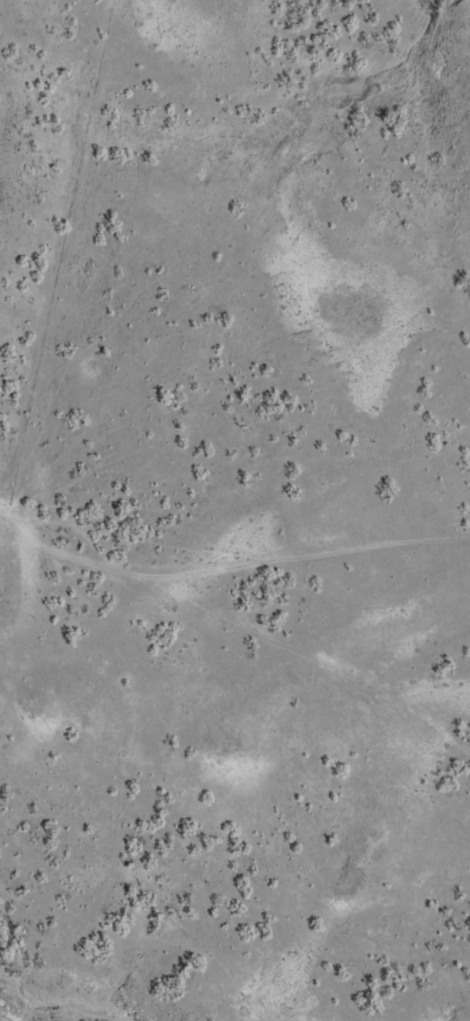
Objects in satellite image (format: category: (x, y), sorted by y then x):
road: (69, 481)

